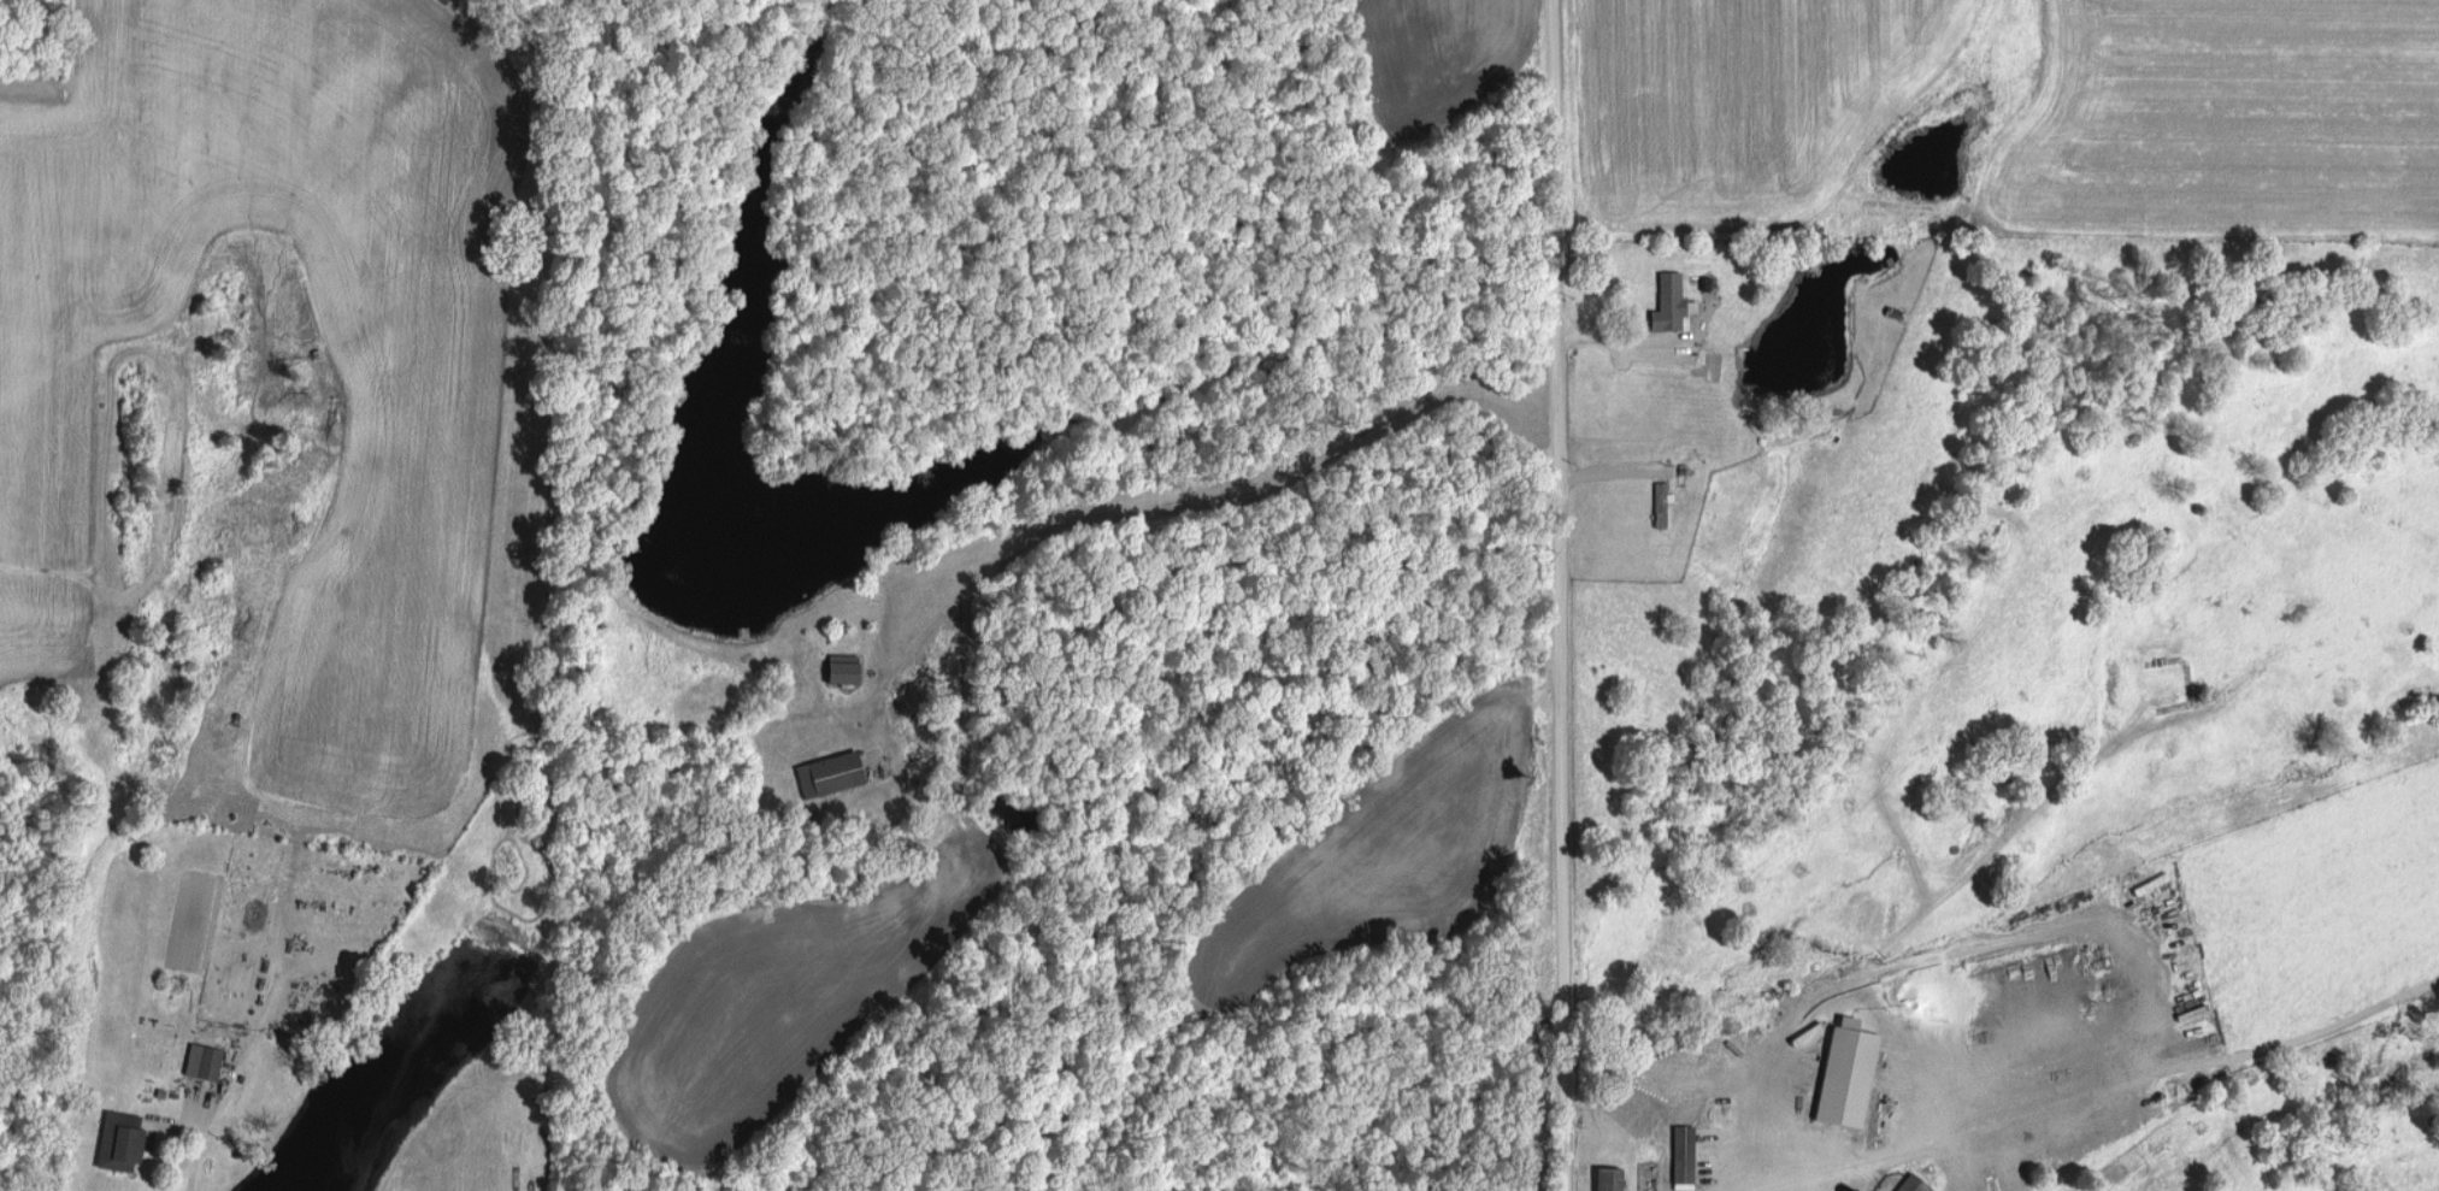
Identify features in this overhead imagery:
building: (1668, 302)
road: (1563, 595)
building: (837, 671)
building: (826, 773)
building: (199, 1061)
building: (1843, 1073)
building: (1680, 1152)
building: (1604, 1179)
building: (1910, 1184)

